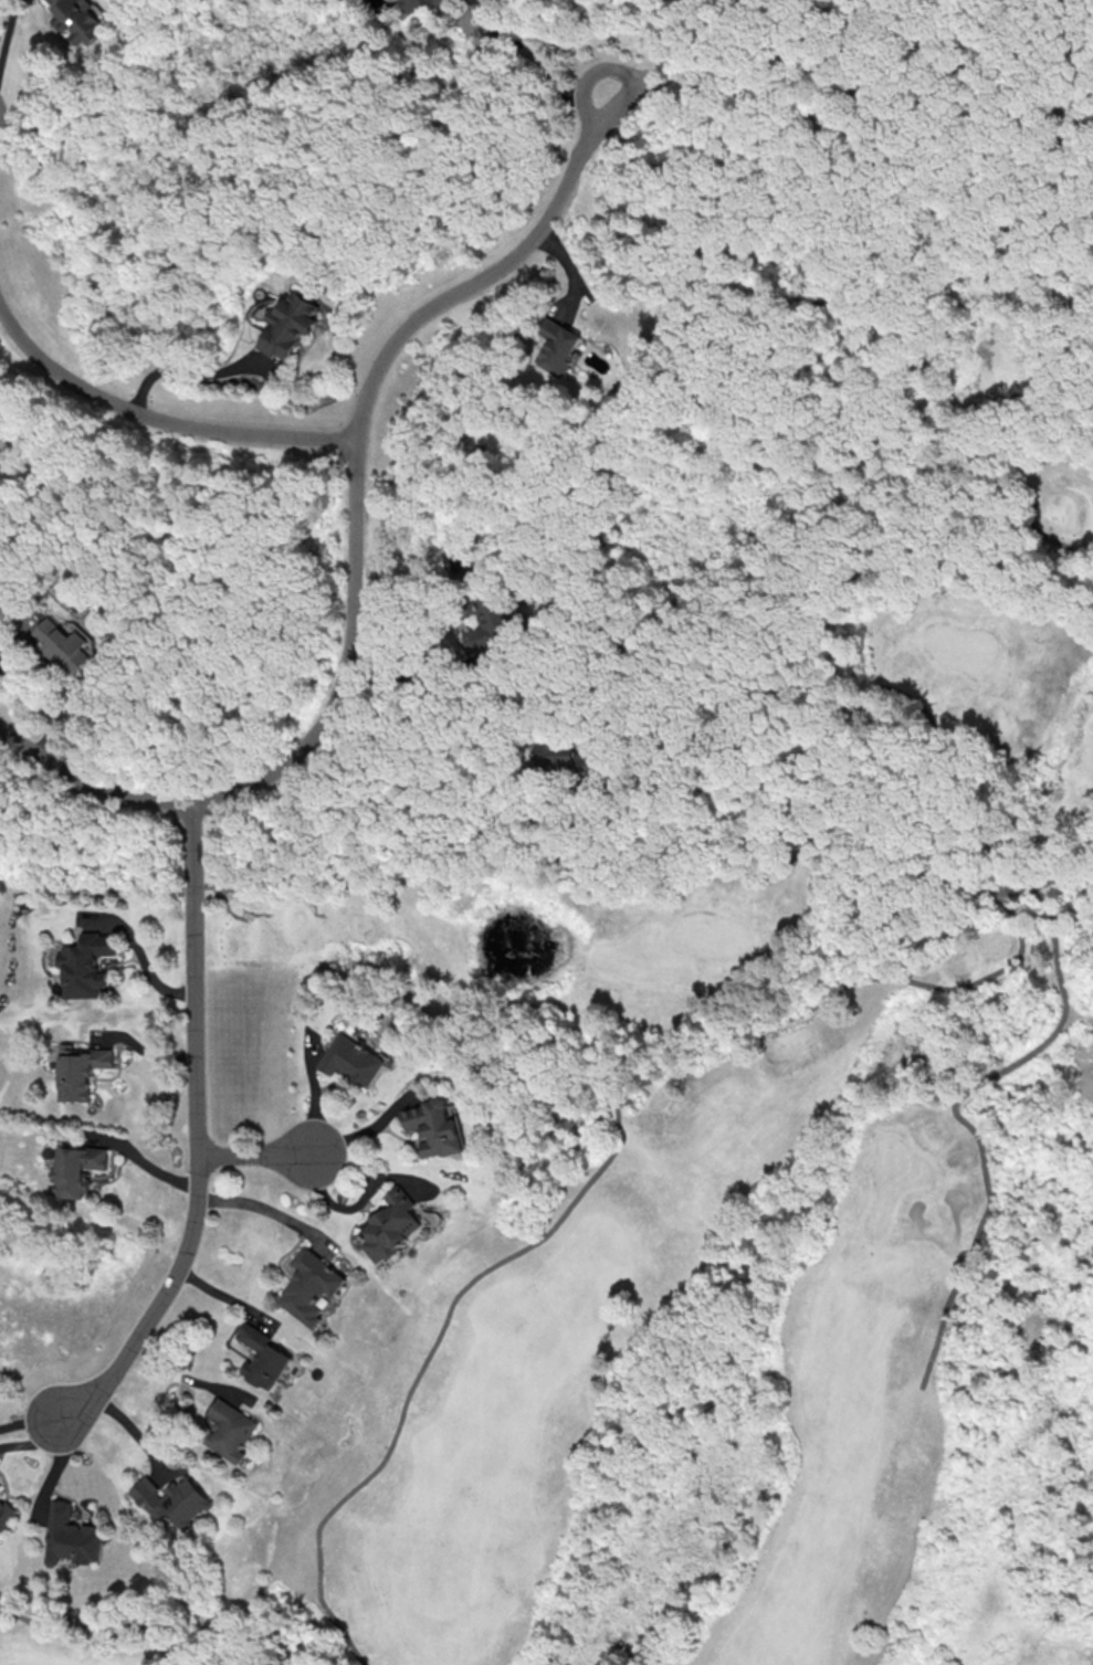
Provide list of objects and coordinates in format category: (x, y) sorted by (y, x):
building: (77, 19)
road: (10, 32)
road: (538, 56)
building: (288, 323)
building: (557, 345)
road: (179, 368)
road: (158, 422)
road: (354, 546)
road: (841, 590)
building: (487, 625)
building: (63, 644)
building: (558, 754)
road: (987, 794)
road: (433, 807)
road: (379, 875)
park: (73, 888)
building: (93, 960)
building: (349, 1062)
building: (88, 1067)
building: (435, 1129)
road: (196, 1132)
road: (979, 1137)
road: (609, 1149)
road: (252, 1157)
road: (143, 1160)
park: (731, 1160)
building: (77, 1170)
building: (389, 1226)
building: (313, 1286)
building: (263, 1356)
building: (230, 1430)
building: (1, 1483)
building: (171, 1498)
building: (7, 1513)
building: (75, 1534)
road: (120, 1617)

